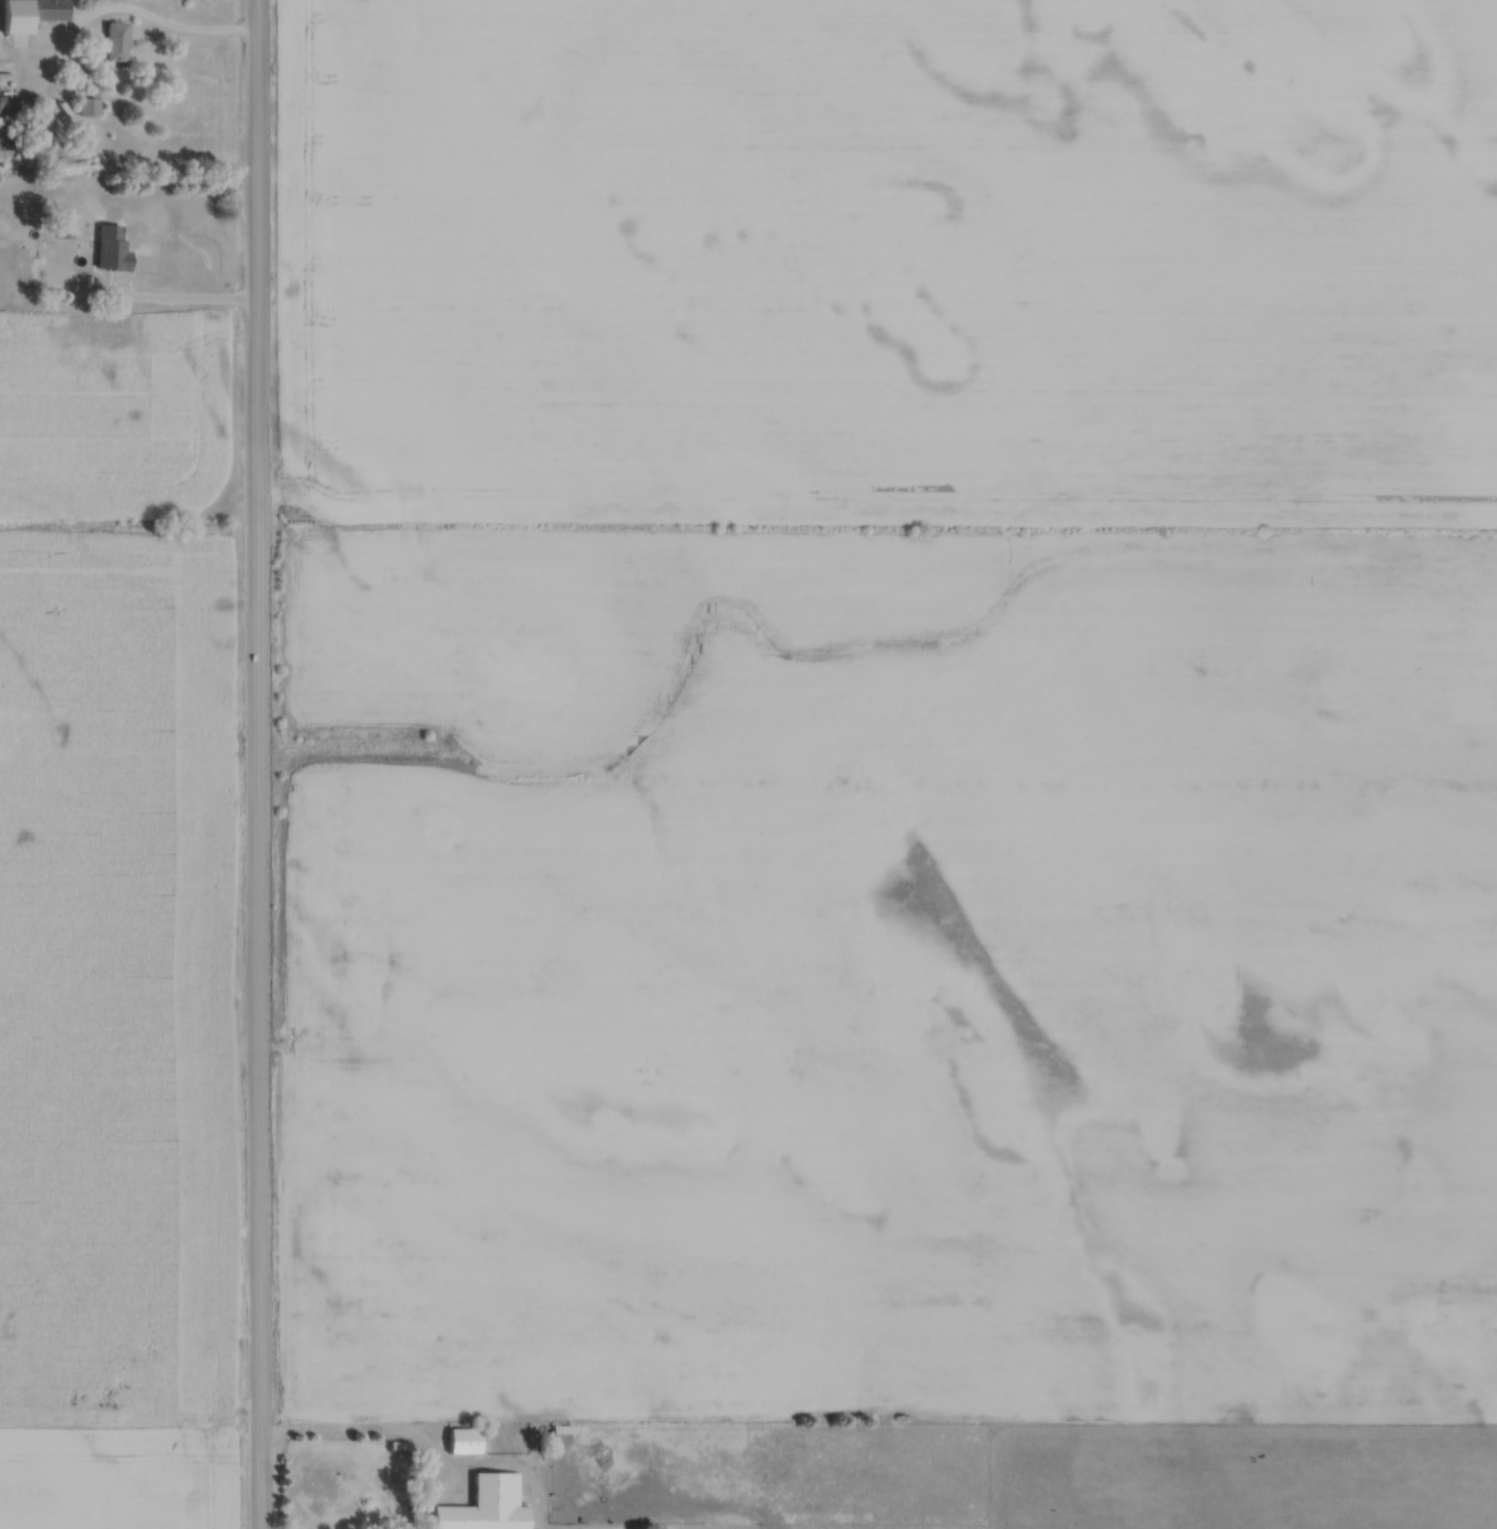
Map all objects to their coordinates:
building: (47, 10)
road: (199, 30)
building: (114, 41)
building: (4, 103)
building: (88, 107)
building: (63, 230)
building: (102, 254)
road: (181, 298)
road: (261, 764)
road: (404, 1430)
building: (463, 1440)
road: (441, 1479)
building: (486, 1505)

